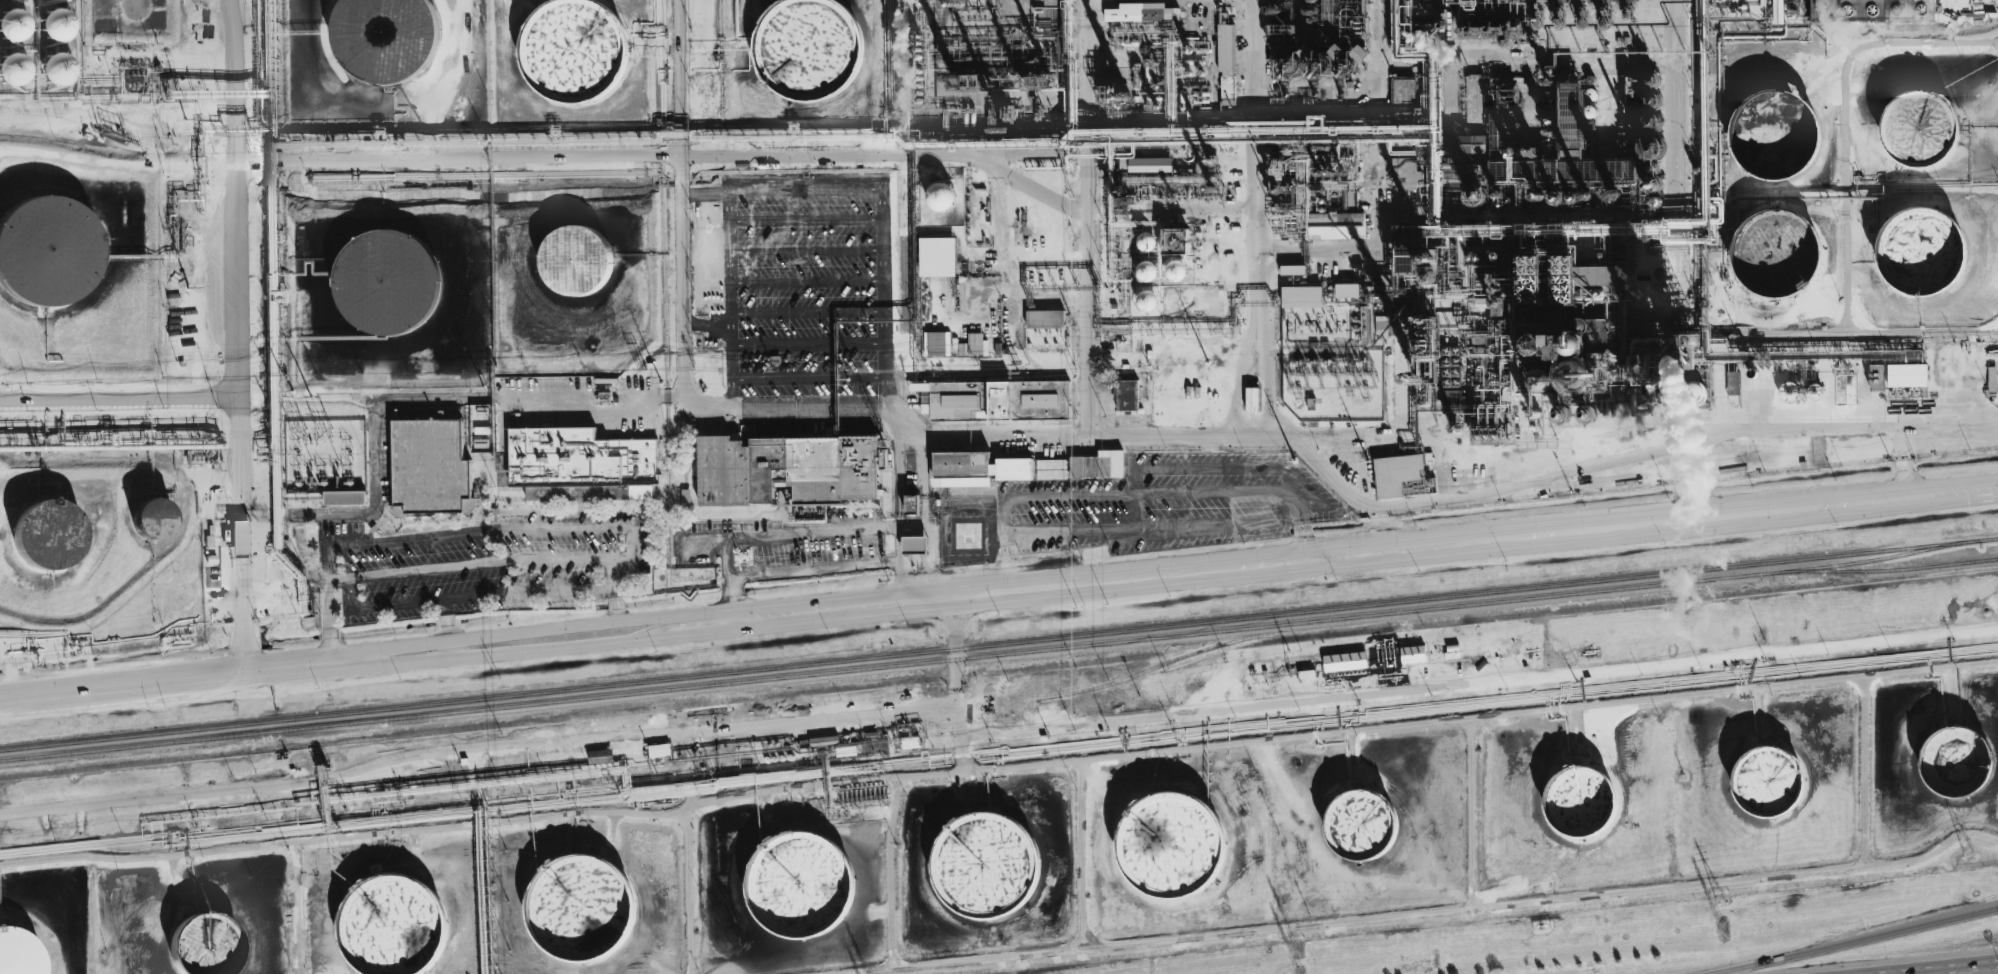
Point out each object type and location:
building: (1053, 3)
building: (1875, 12)
building: (1142, 13)
building: (1791, 14)
building: (12, 20)
storage tank: (12, 20)
building: (54, 21)
storage tank: (54, 21)
building: (381, 33)
storage tank: (381, 33)
building: (572, 43)
storage tank: (572, 43)
road: (1867, 43)
building: (808, 45)
storage tank: (808, 45)
building: (1361, 53)
road: (1519, 57)
building: (53, 63)
storage tank: (53, 63)
building: (14, 64)
storage tank: (14, 64)
building: (1226, 66)
building: (1404, 88)
building: (1474, 99)
road: (1356, 100)
building: (1918, 133)
storage tank: (1918, 133)
building: (1776, 139)
storage tank: (1776, 139)
building: (1472, 144)
road: (716, 145)
building: (1149, 165)
building: (1404, 174)
road: (814, 186)
road: (1045, 195)
building: (940, 196)
road: (666, 205)
road: (1085, 215)
road: (805, 219)
building: (1337, 225)
building: (1146, 241)
building: (41, 250)
storage tank: (41, 250)
road: (806, 250)
building: (1776, 255)
storage tank: (1776, 255)
road: (1007, 256)
building: (1923, 256)
storage tank: (1923, 256)
building: (937, 257)
building: (577, 260)
storage tank: (577, 260)
building: (1176, 270)
building: (1292, 270)
building: (1146, 271)
road: (807, 280)
building: (389, 281)
storage tank: (389, 281)
parking lot: (807, 290)
building: (1347, 291)
building: (1301, 297)
building: (1146, 300)
road: (808, 312)
building: (1045, 319)
road: (1994, 328)
road: (245, 335)
road: (808, 342)
building: (936, 344)
building: (977, 344)
building: (1907, 375)
road: (809, 377)
building: (1876, 377)
building: (1732, 385)
building: (1844, 389)
building: (1694, 394)
road: (428, 395)
building: (1127, 395)
building: (1252, 399)
road: (124, 400)
building: (1000, 400)
building: (743, 433)
road: (977, 434)
road: (1398, 435)
road: (1818, 443)
power substation: (325, 461)
building: (578, 464)
road: (1906, 465)
building: (430, 469)
building: (787, 469)
building: (975, 469)
road: (1220, 473)
building: (1396, 473)
road: (1133, 485)
road: (1681, 489)
building: (641, 492)
road: (27, 493)
road: (1466, 494)
building: (344, 497)
road: (1145, 497)
parking lot: (1169, 501)
building: (911, 503)
road: (913, 515)
building: (152, 517)
storage tank: (152, 517)
road: (1132, 517)
road: (1001, 519)
road: (901, 529)
building: (48, 532)
storage tank: (48, 532)
road: (483, 532)
road: (1157, 535)
building: (240, 537)
road: (888, 540)
road: (1457, 541)
building: (913, 544)
parking lot: (783, 545)
road: (305, 554)
road: (1004, 562)
road: (901, 564)
parking lot: (485, 566)
railway: (1885, 570)
road: (337, 580)
road: (610, 585)
road: (728, 599)
road: (881, 599)
road: (620, 619)
road: (330, 622)
road: (447, 634)
railway: (999, 644)
road: (423, 653)
building: (1413, 654)
railway: (990, 655)
building: (1345, 661)
railway: (1152, 667)
road: (952, 681)
road: (1535, 711)
road: (473, 746)
building: (659, 750)
building: (1956, 767)
building: (1769, 787)
building: (1580, 806)
building: (1363, 831)
building: (1170, 850)
road: (1080, 853)
power tower: (1970, 854)
building: (985, 867)
road: (889, 871)
building: (797, 889)
road: (688, 893)
power tower: (1718, 902)
road: (297, 907)
road: (1990, 910)
building: (581, 911)
building: (391, 928)
power tower: (1722, 929)
road: (1859, 942)
building: (198, 944)
power tower: (1295, 949)
building: (19, 950)
road: (1954, 969)

